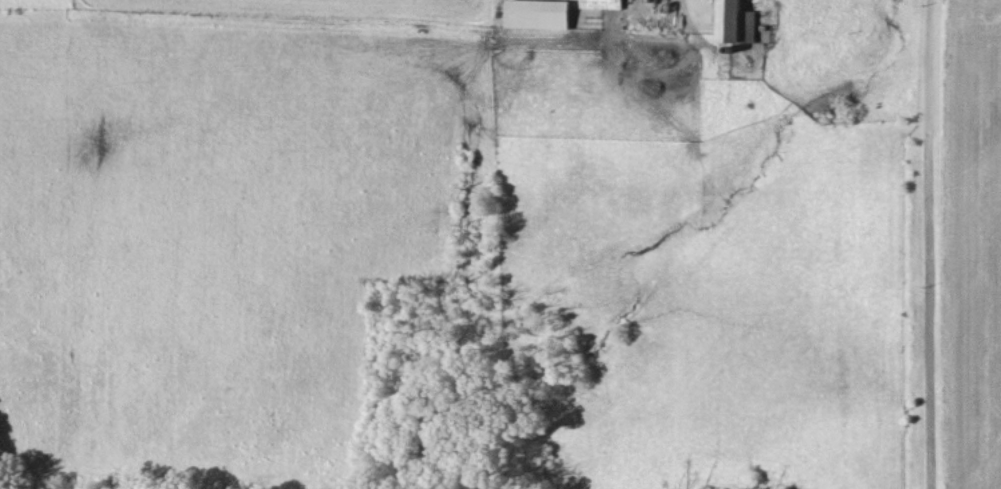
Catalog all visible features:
building: (602, 4)
building: (539, 13)
building: (735, 22)
road: (928, 244)

